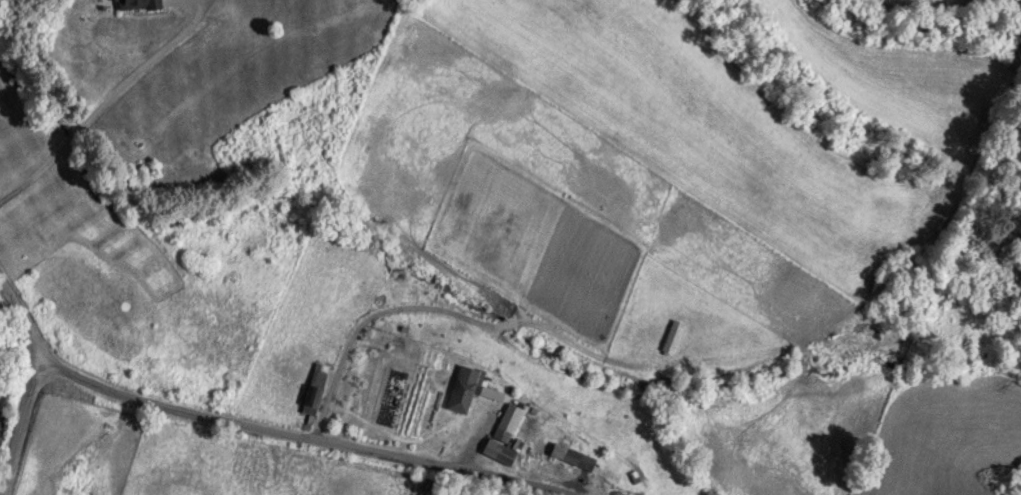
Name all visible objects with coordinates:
building: (131, 4)
road: (23, 314)
building: (670, 336)
building: (311, 387)
building: (465, 389)
road: (20, 426)
building: (501, 430)
road: (306, 435)
building: (574, 459)

